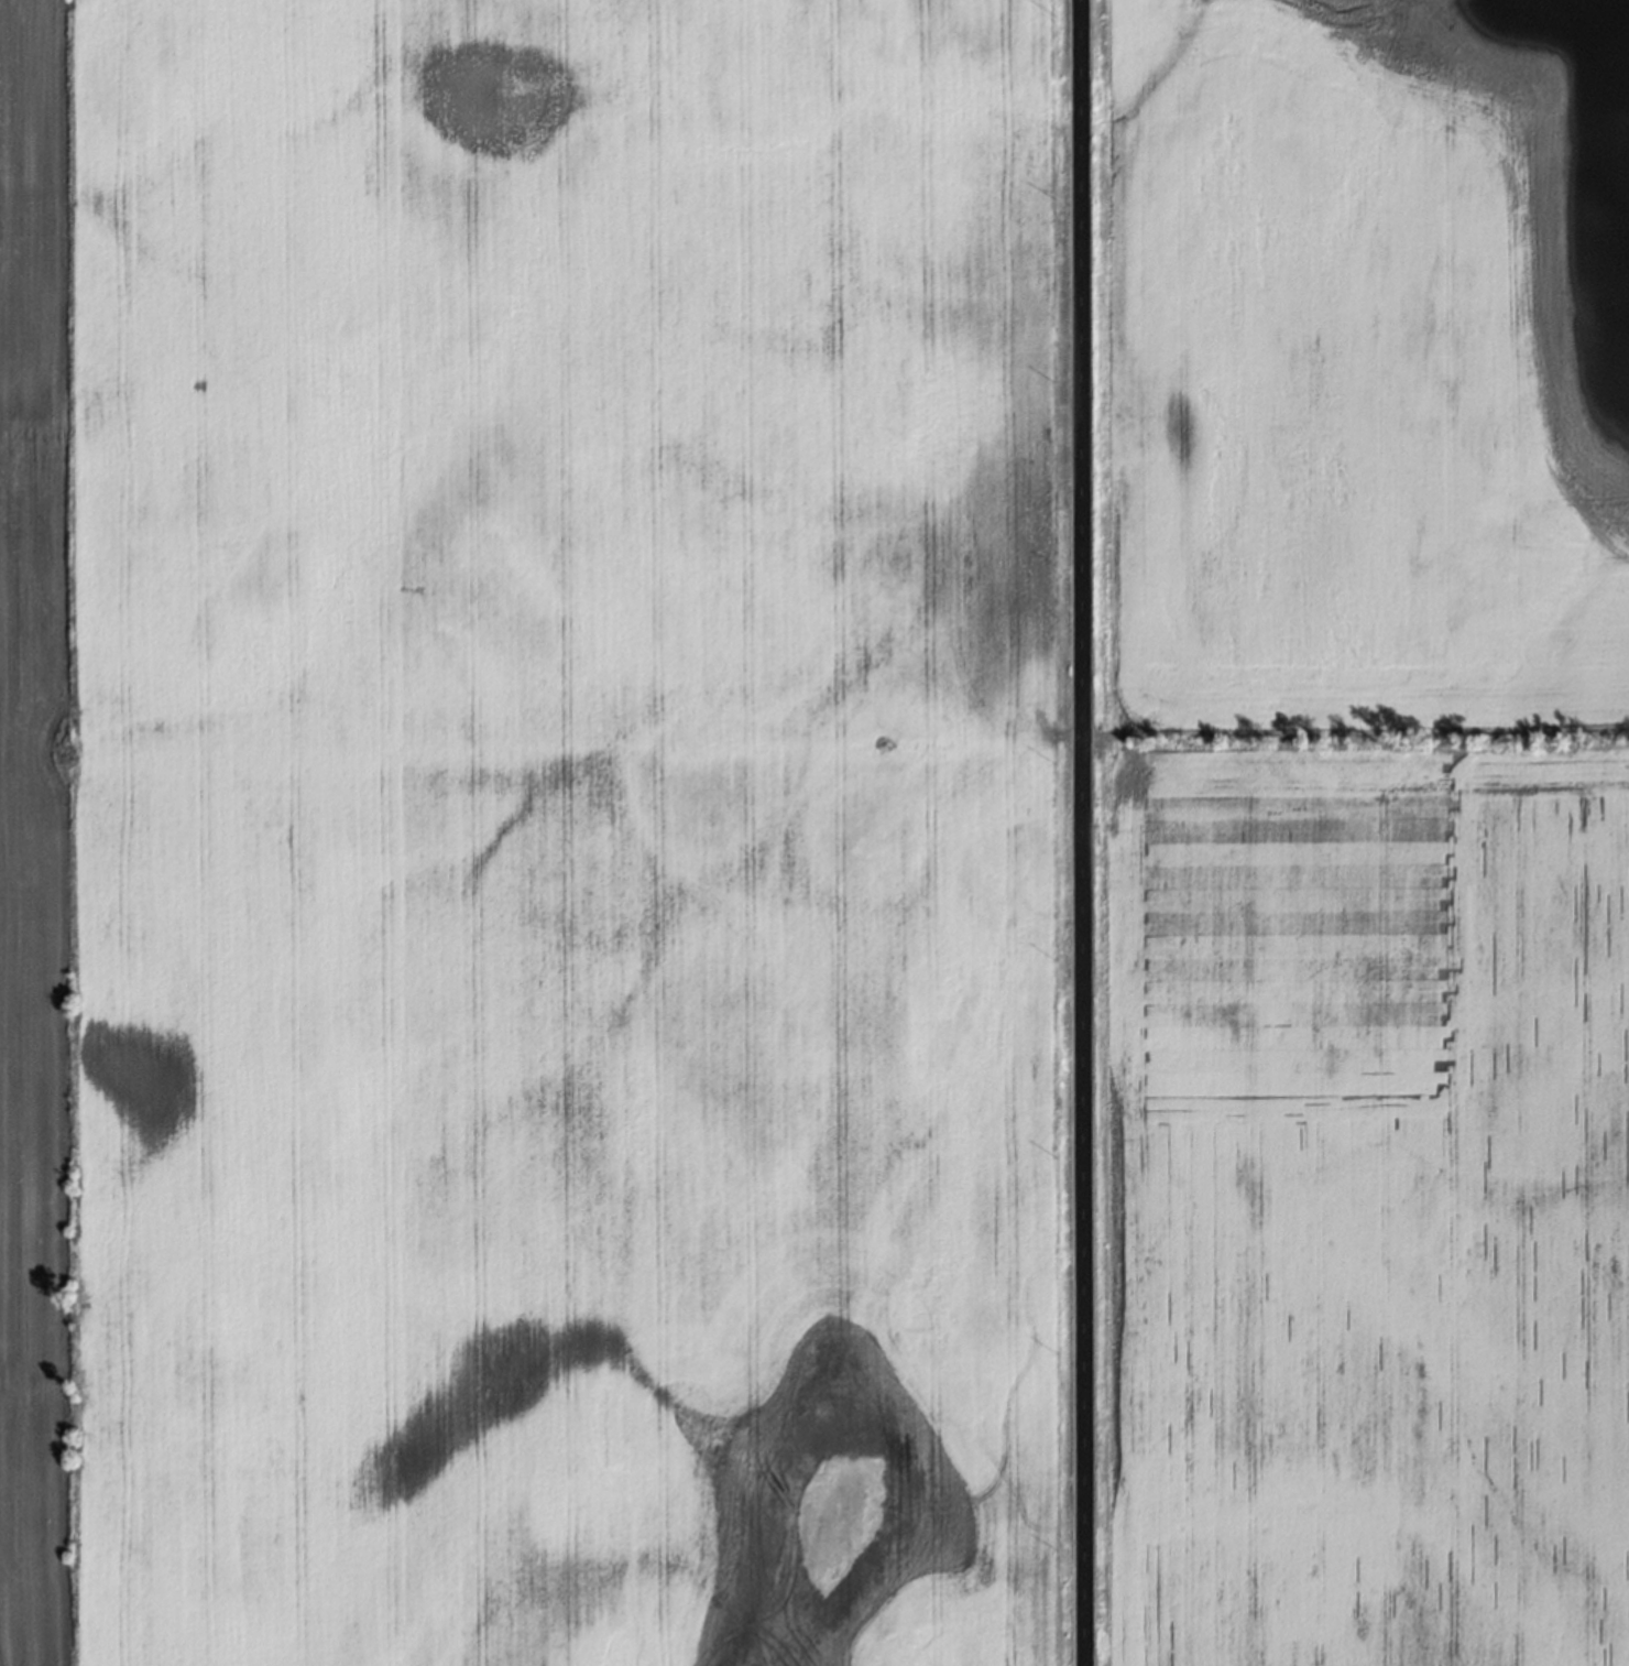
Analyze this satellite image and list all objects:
road: (1081, 832)

